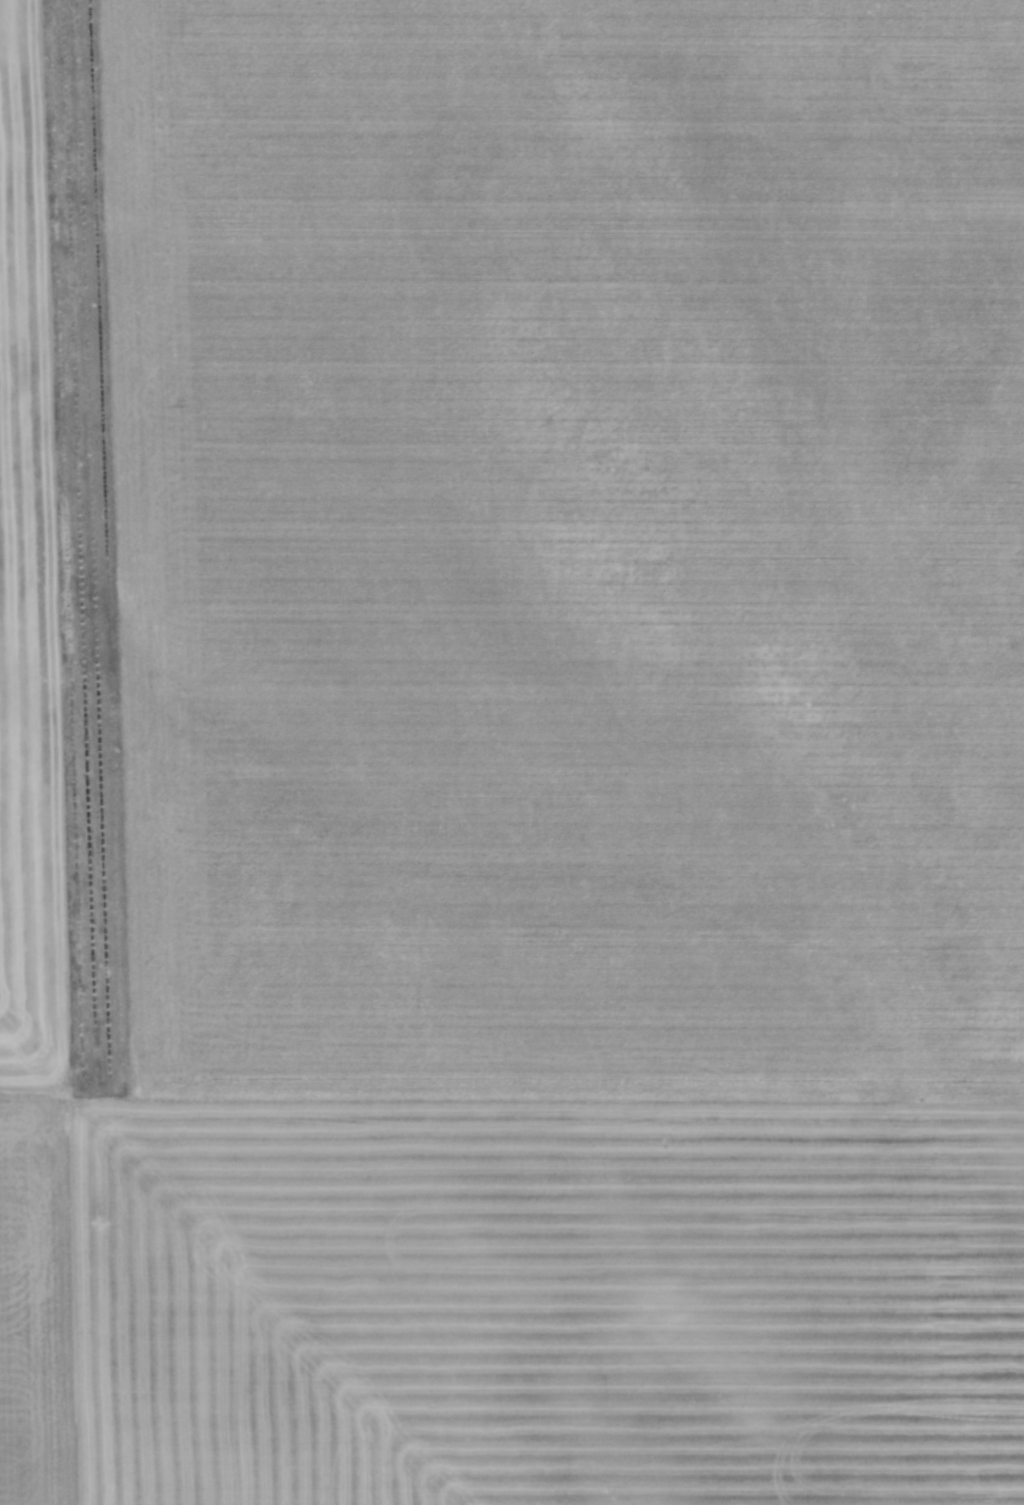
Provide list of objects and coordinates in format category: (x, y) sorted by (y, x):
crop: (512, 752)

